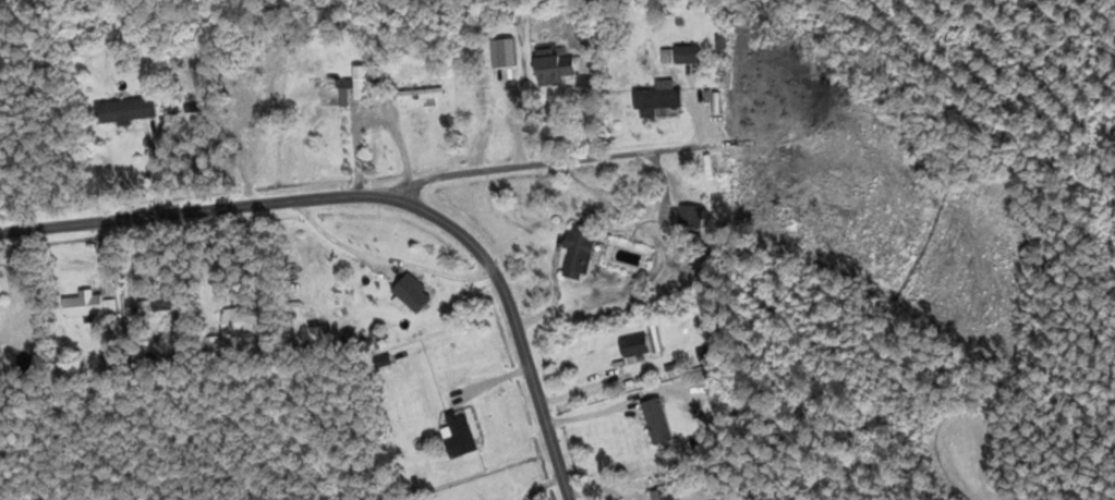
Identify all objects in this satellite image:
building: (552, 65)
building: (329, 86)
building: (420, 92)
building: (647, 98)
building: (126, 109)
road: (385, 194)
building: (691, 215)
building: (579, 248)
building: (412, 292)
building: (84, 303)
building: (634, 344)
building: (657, 418)
building: (460, 432)
building: (665, 493)

